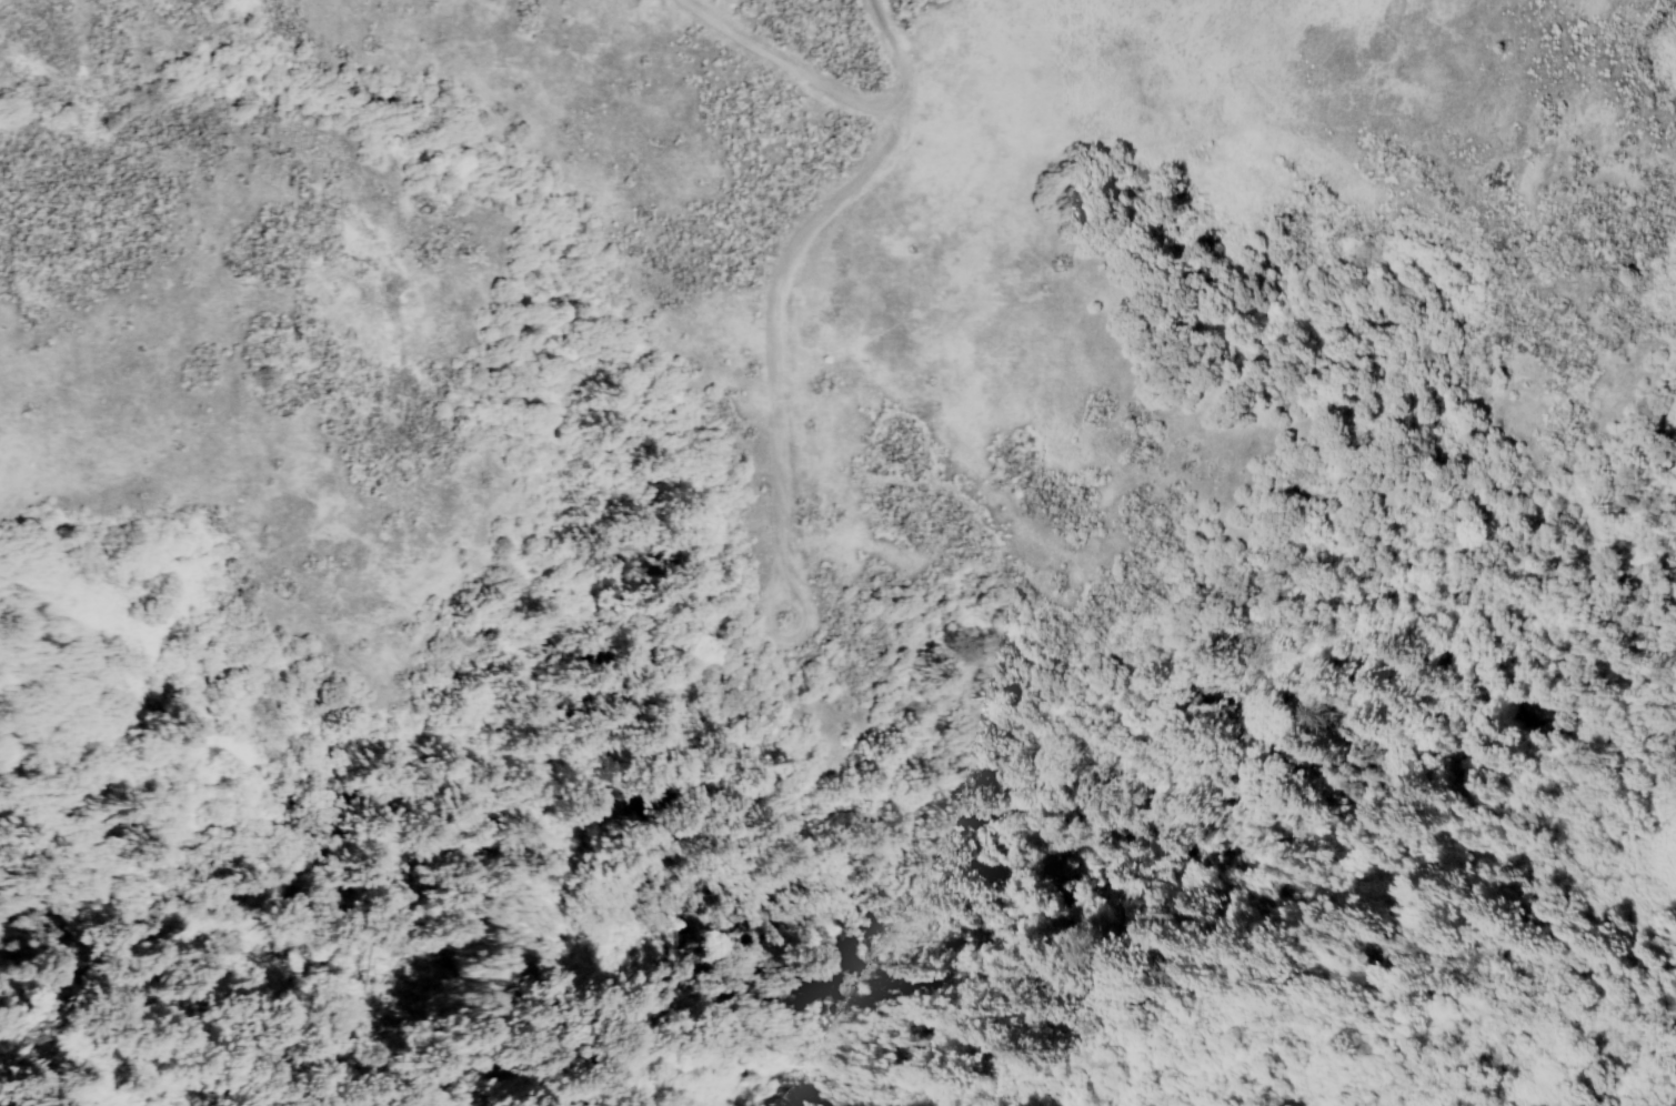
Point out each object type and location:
road: (831, 91)

